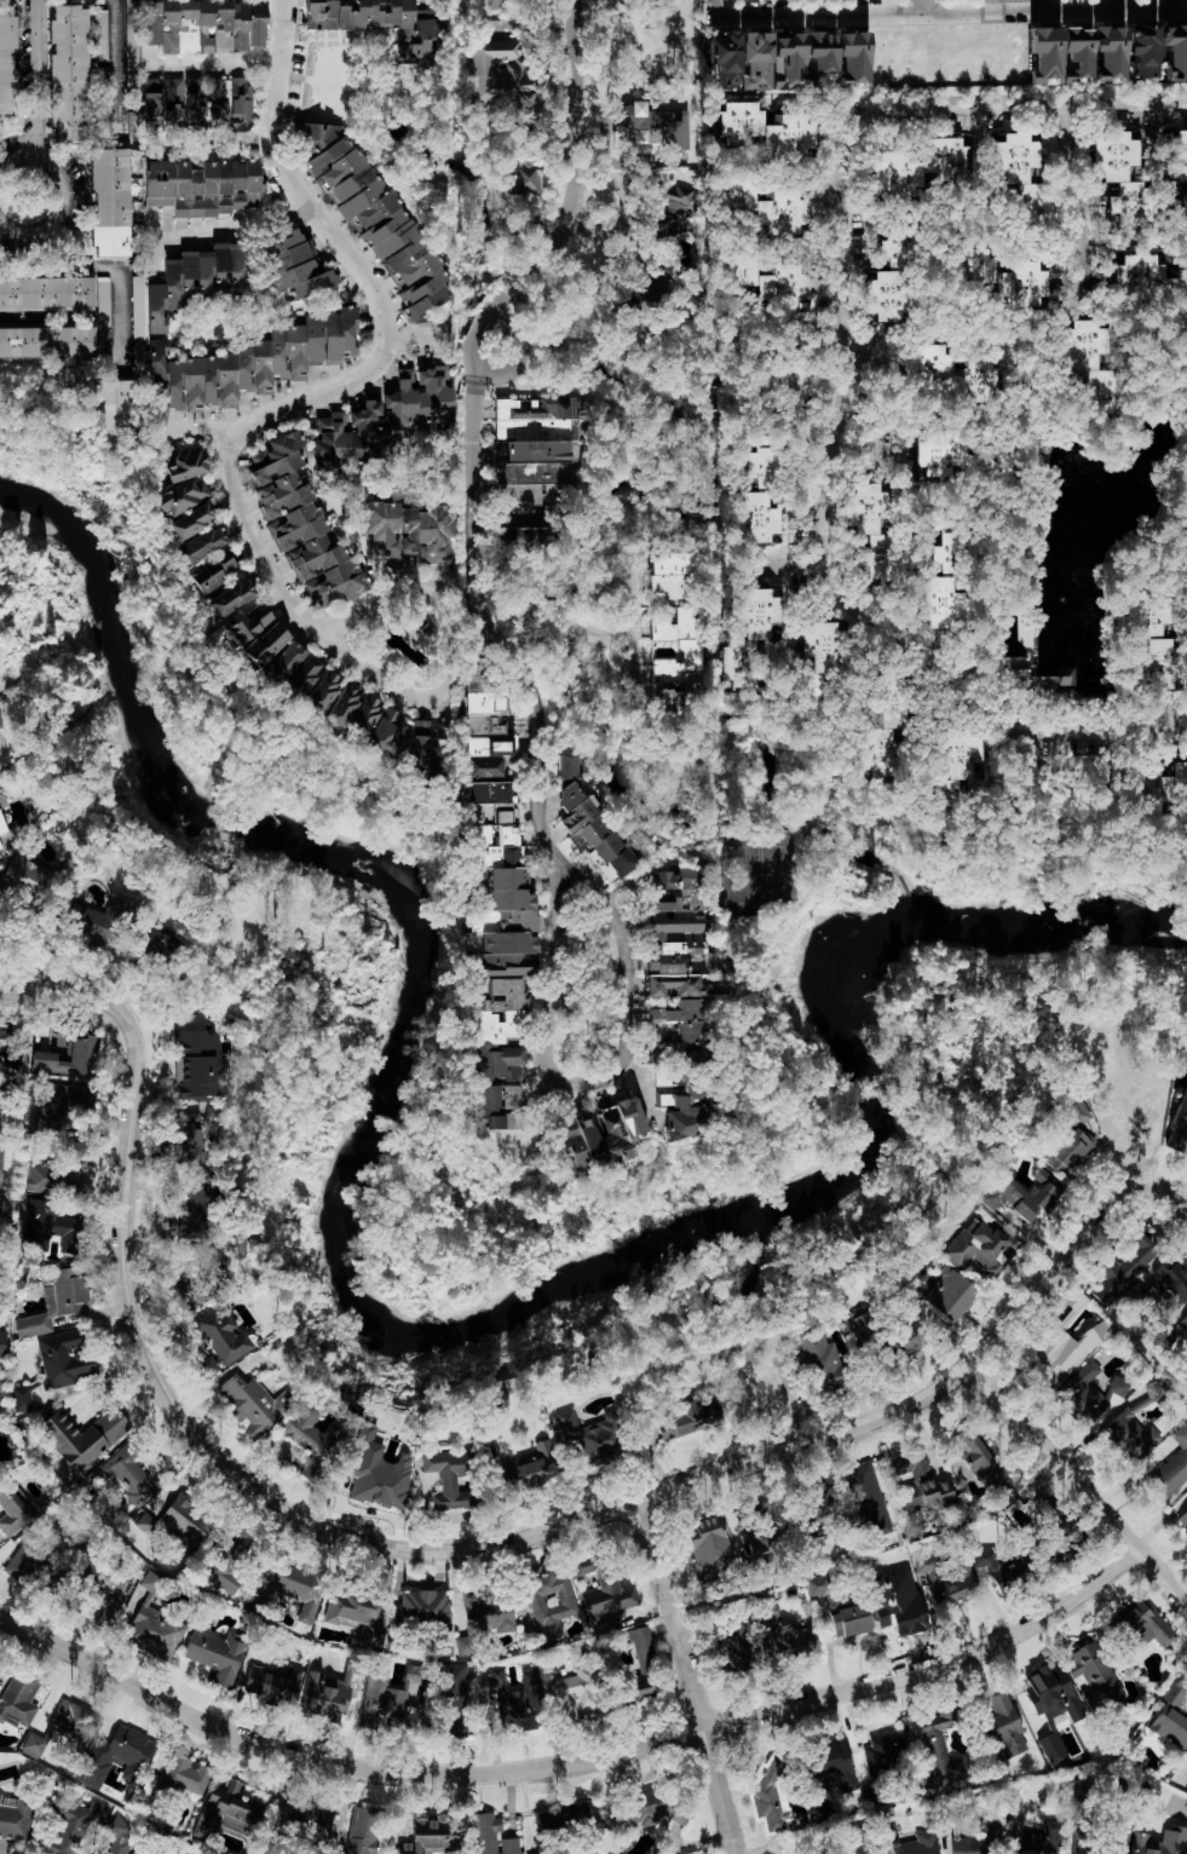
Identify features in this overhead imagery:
building: (496, 4)
road: (1117, 5)
road: (990, 6)
road: (1045, 6)
road: (926, 7)
road: (1056, 11)
road: (813, 16)
building: (381, 23)
building: (203, 24)
building: (99, 35)
building: (131, 42)
building: (1141, 50)
building: (1077, 54)
building: (788, 58)
building: (6, 59)
road: (116, 68)
road: (180, 68)
building: (68, 73)
building: (497, 77)
road: (39, 79)
building: (173, 102)
building: (151, 103)
building: (218, 103)
building: (649, 126)
building: (768, 129)
road: (576, 137)
building: (1177, 154)
building: (945, 156)
building: (895, 174)
building: (1124, 174)
building: (1024, 178)
road: (846, 182)
building: (525, 184)
building: (203, 185)
road: (67, 196)
building: (679, 197)
building: (109, 201)
building: (1183, 203)
building: (764, 205)
building: (369, 206)
road: (1082, 207)
building: (661, 228)
road: (226, 229)
road: (152, 246)
building: (293, 263)
road: (119, 272)
building: (1142, 272)
building: (894, 275)
building: (1002, 276)
road: (522, 277)
building: (196, 280)
building: (761, 280)
building: (1180, 289)
building: (46, 292)
building: (425, 294)
road: (375, 301)
building: (102, 315)
road: (495, 319)
building: (137, 323)
road: (414, 338)
building: (46, 341)
building: (259, 362)
building: (926, 365)
building: (1090, 365)
building: (788, 380)
building: (978, 380)
building: (734, 396)
building: (116, 407)
building: (382, 416)
building: (940, 453)
building: (186, 462)
building: (762, 491)
building: (181, 495)
building: (190, 520)
building: (300, 523)
building: (408, 529)
building: (874, 530)
building: (517, 535)
road: (244, 541)
building: (201, 545)
building: (956, 553)
building: (209, 571)
building: (676, 572)
building: (226, 598)
building: (940, 601)
building: (257, 634)
road: (635, 634)
building: (750, 637)
road: (603, 639)
road: (546, 640)
building: (1156, 640)
building: (675, 651)
road: (514, 653)
building: (820, 666)
building: (292, 670)
building: (1032, 678)
road: (376, 679)
road: (958, 679)
building: (319, 692)
building: (340, 706)
building: (484, 712)
building: (0, 724)
building: (887, 724)
building: (374, 729)
building: (425, 745)
building: (484, 767)
building: (951, 773)
building: (1156, 779)
building: (486, 790)
building: (589, 823)
building: (6, 825)
road: (549, 856)
building: (25, 881)
building: (103, 925)
building: (679, 933)
building: (157, 948)
building: (507, 952)
building: (678, 1020)
building: (70, 1055)
building: (499, 1063)
building: (195, 1064)
building: (511, 1095)
building: (57, 1105)
building: (483, 1107)
building: (211, 1116)
building: (1176, 1123)
building: (600, 1134)
building: (185, 1135)
building: (1067, 1150)
building: (0, 1157)
building: (57, 1173)
building: (1020, 1194)
building: (191, 1214)
building: (52, 1222)
building: (981, 1249)
building: (1127, 1261)
building: (1170, 1279)
building: (949, 1292)
building: (858, 1320)
building: (1182, 1324)
river: (407, 1334)
building: (1065, 1337)
building: (220, 1338)
building: (899, 1338)
building: (2, 1342)
building: (1186, 1355)
building: (63, 1357)
building: (819, 1360)
building: (0, 1383)
building: (1152, 1388)
building: (1088, 1392)
building: (19, 1398)
building: (253, 1403)
building: (682, 1420)
building: (82, 1435)
building: (1130, 1436)
building: (311, 1439)
building: (299, 1461)
building: (980, 1462)
building: (534, 1463)
building: (1171, 1466)
building: (131, 1472)
building: (379, 1476)
building: (449, 1476)
road: (1079, 1481)
building: (918, 1482)
building: (12, 1508)
building: (1182, 1519)
building: (181, 1526)
building: (708, 1545)
road: (448, 1549)
building: (224, 1558)
building: (34, 1561)
building: (997, 1565)
building: (946, 1582)
building: (286, 1591)
building: (607, 1595)
building: (551, 1600)
building: (422, 1606)
building: (839, 1608)
building: (483, 1611)
building: (901, 1612)
building: (353, 1613)
building: (1146, 1624)
building: (786, 1630)
building: (154, 1631)
building: (215, 1653)
building: (731, 1653)
building: (633, 1662)
building: (1093, 1674)
road: (692, 1675)
building: (267, 1686)
building: (454, 1686)
building: (1050, 1692)
building: (386, 1695)
building: (572, 1695)
building: (18, 1699)
building: (513, 1699)
building: (1171, 1718)
building: (70, 1721)
building: (1004, 1727)
building: (33, 1745)
building: (1051, 1749)
building: (939, 1750)
building: (885, 1752)
building: (116, 1756)
road: (576, 1761)
building: (836, 1763)
building: (183, 1775)
building: (771, 1793)
building: (1079, 1800)
building: (653, 1807)
building: (225, 1810)
building: (15, 1815)
building: (564, 1816)
building: (1050, 1826)
building: (363, 1831)
building: (430, 1835)
building: (490, 1836)
building: (979, 1841)
building: (1159, 1842)
building: (918, 1844)
building: (851, 1848)
building: (167, 1850)
building: (1083, 1852)
building: (1107, 1852)
building: (541, 1853)

